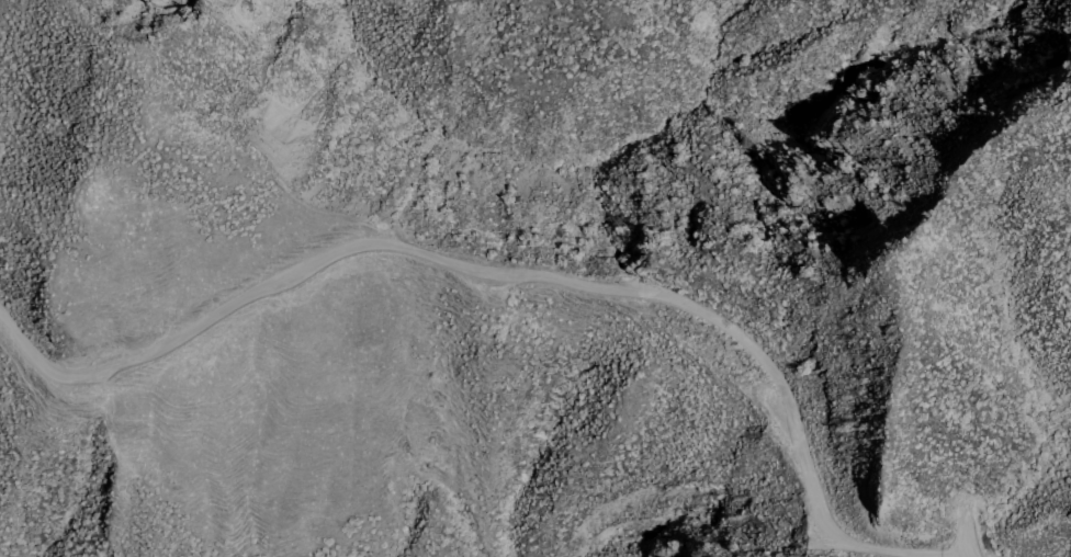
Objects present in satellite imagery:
road: (526, 270)

